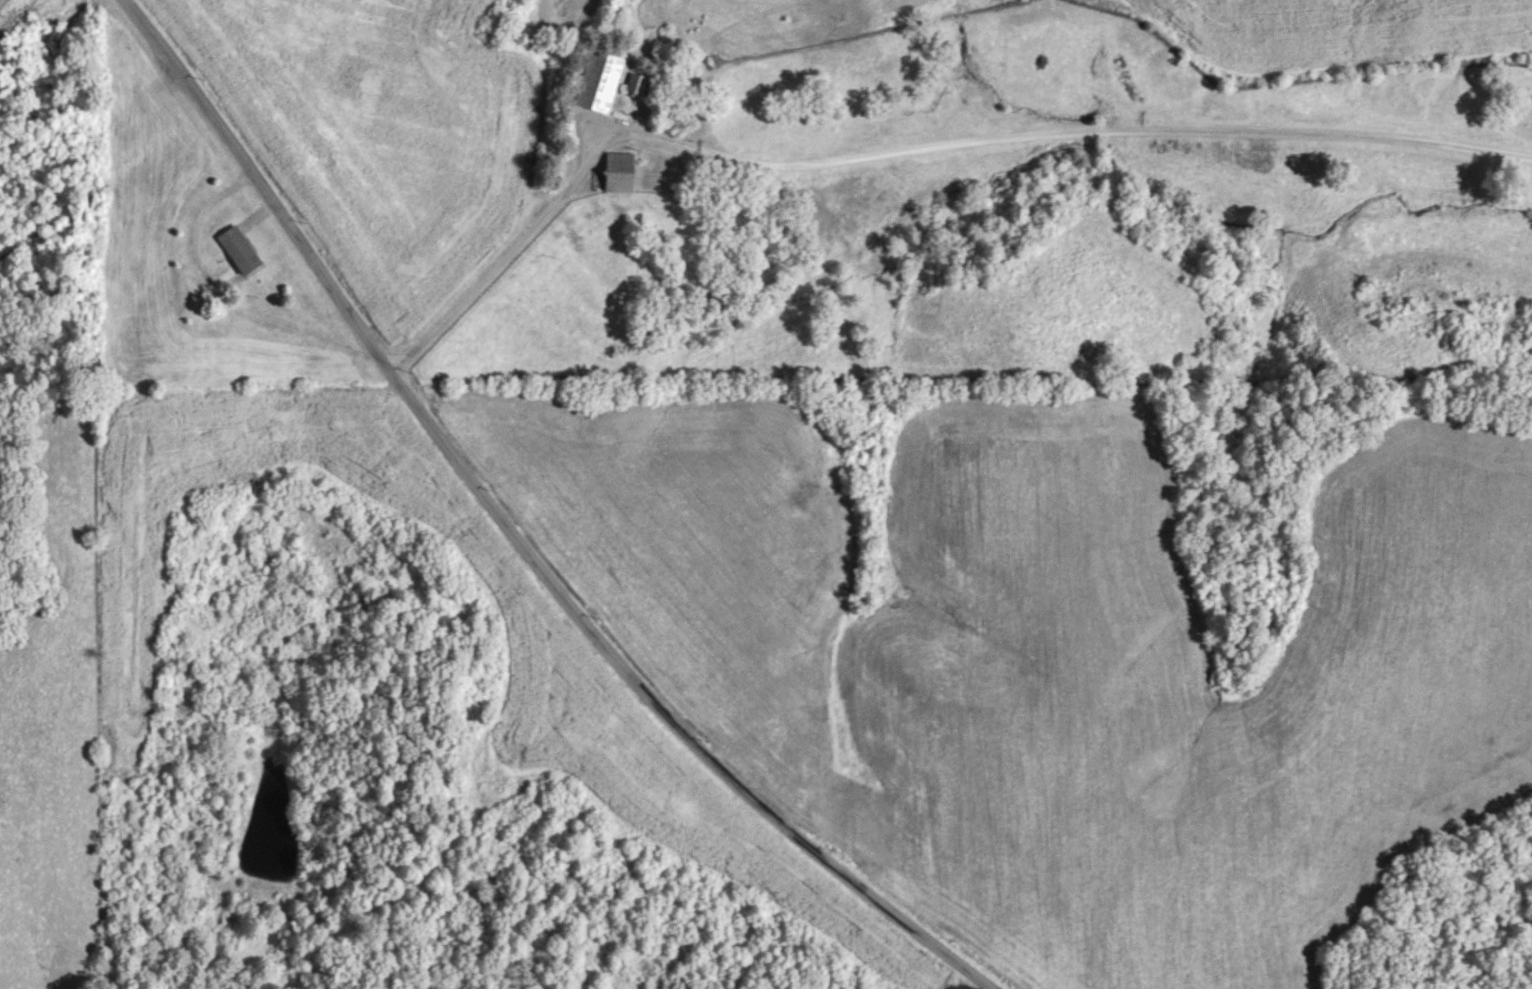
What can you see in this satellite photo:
building: (595, 82)
building: (635, 85)
road: (907, 147)
building: (616, 172)
building: (236, 249)
road: (512, 535)

